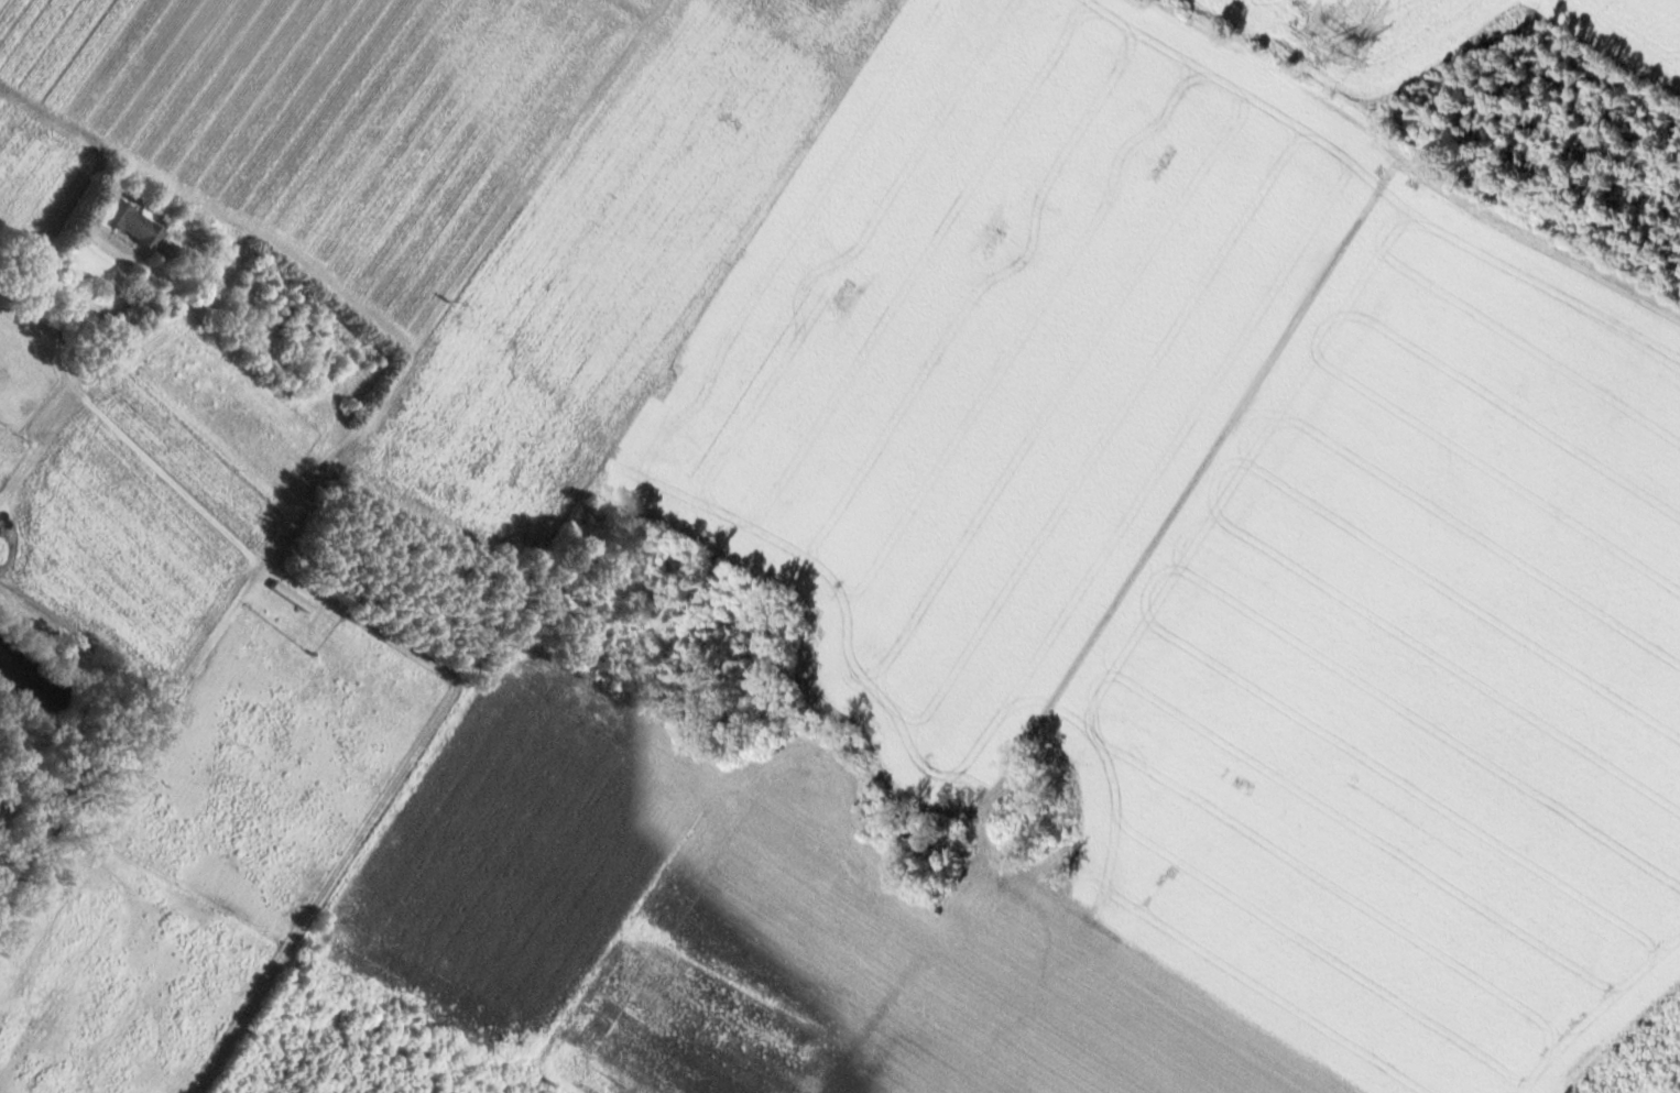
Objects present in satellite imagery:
building: (137, 223)
road: (43, 292)
building: (305, 323)

